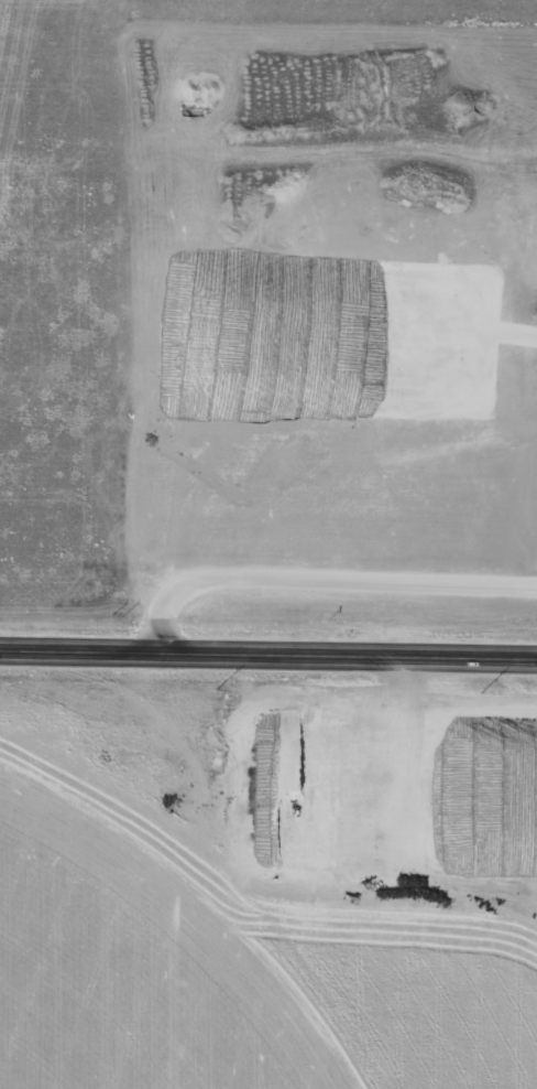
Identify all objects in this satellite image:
road: (267, 657)

